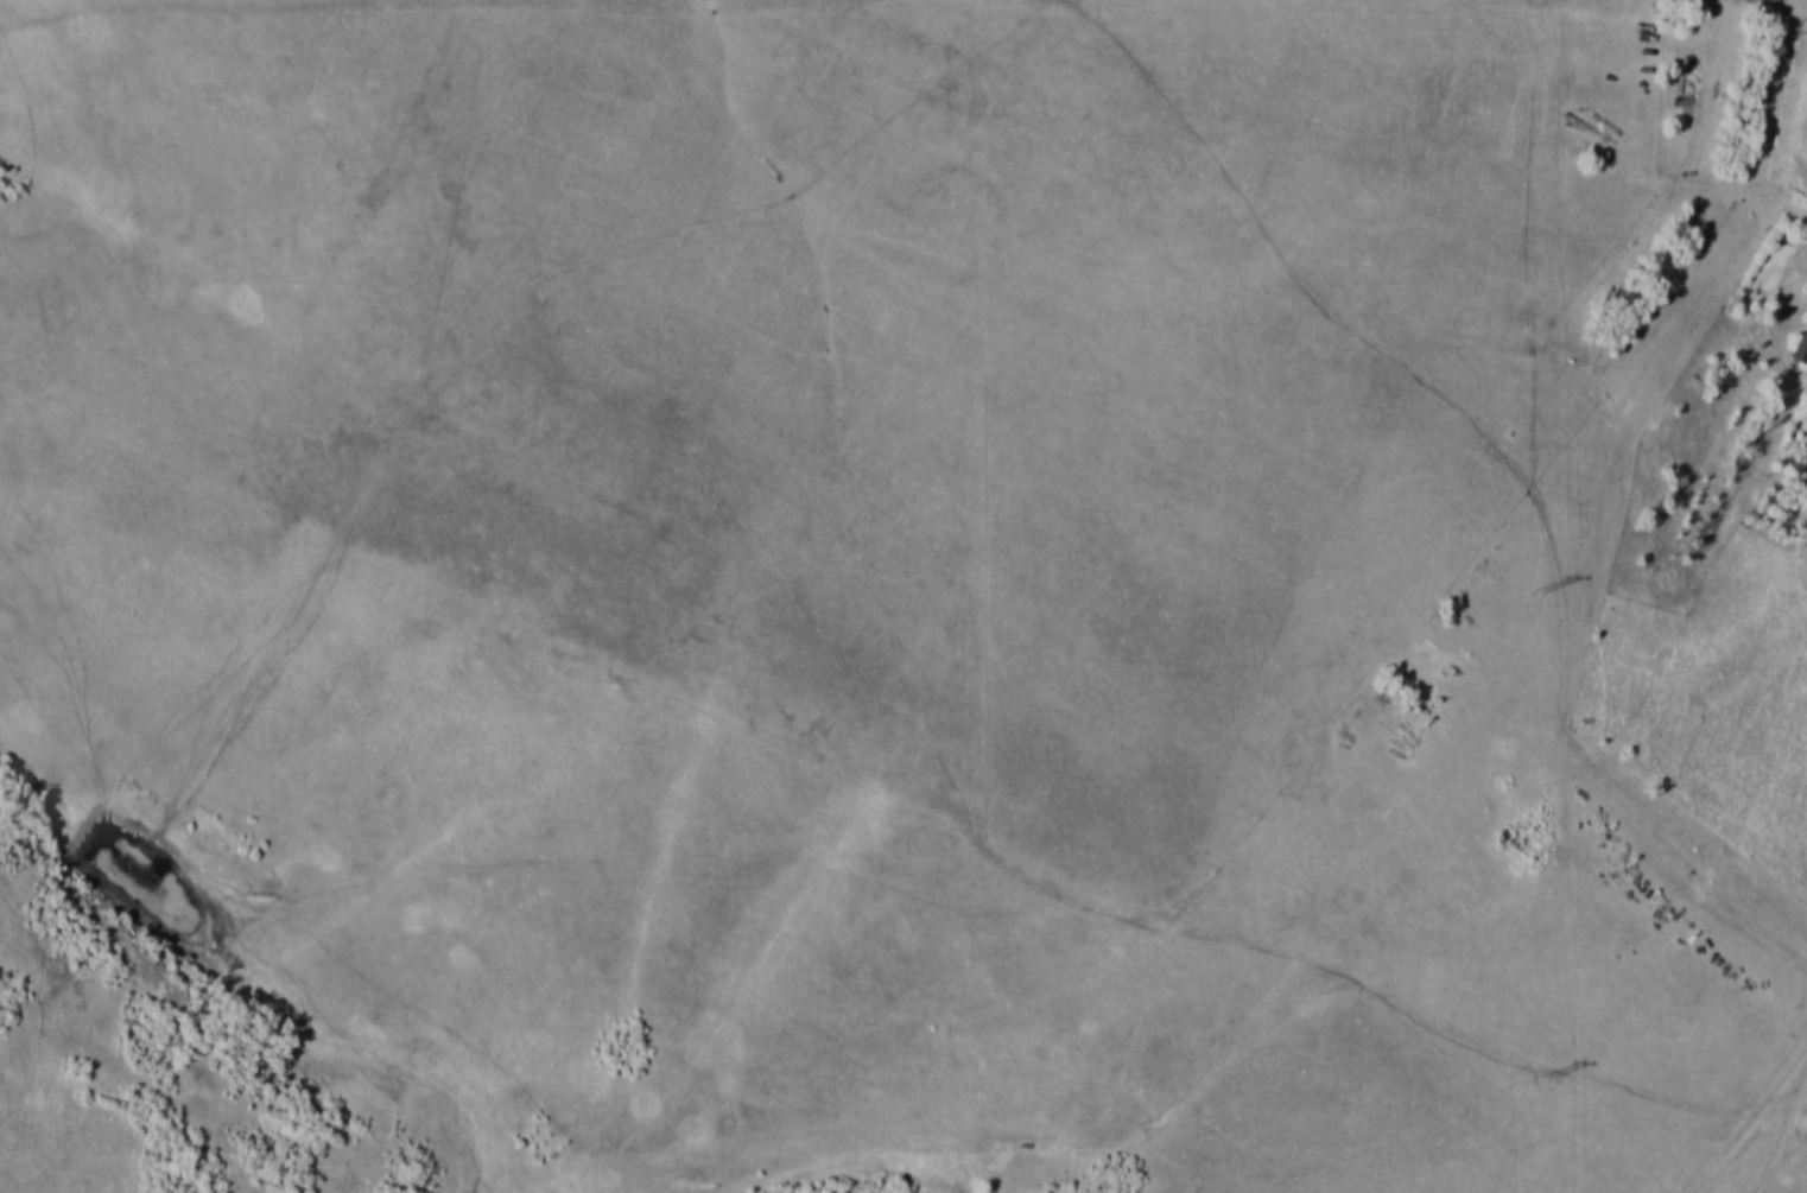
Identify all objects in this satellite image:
road: (400, 1)
building: (1800, 347)
power tower: (1547, 594)
power tower: (1547, 1080)

